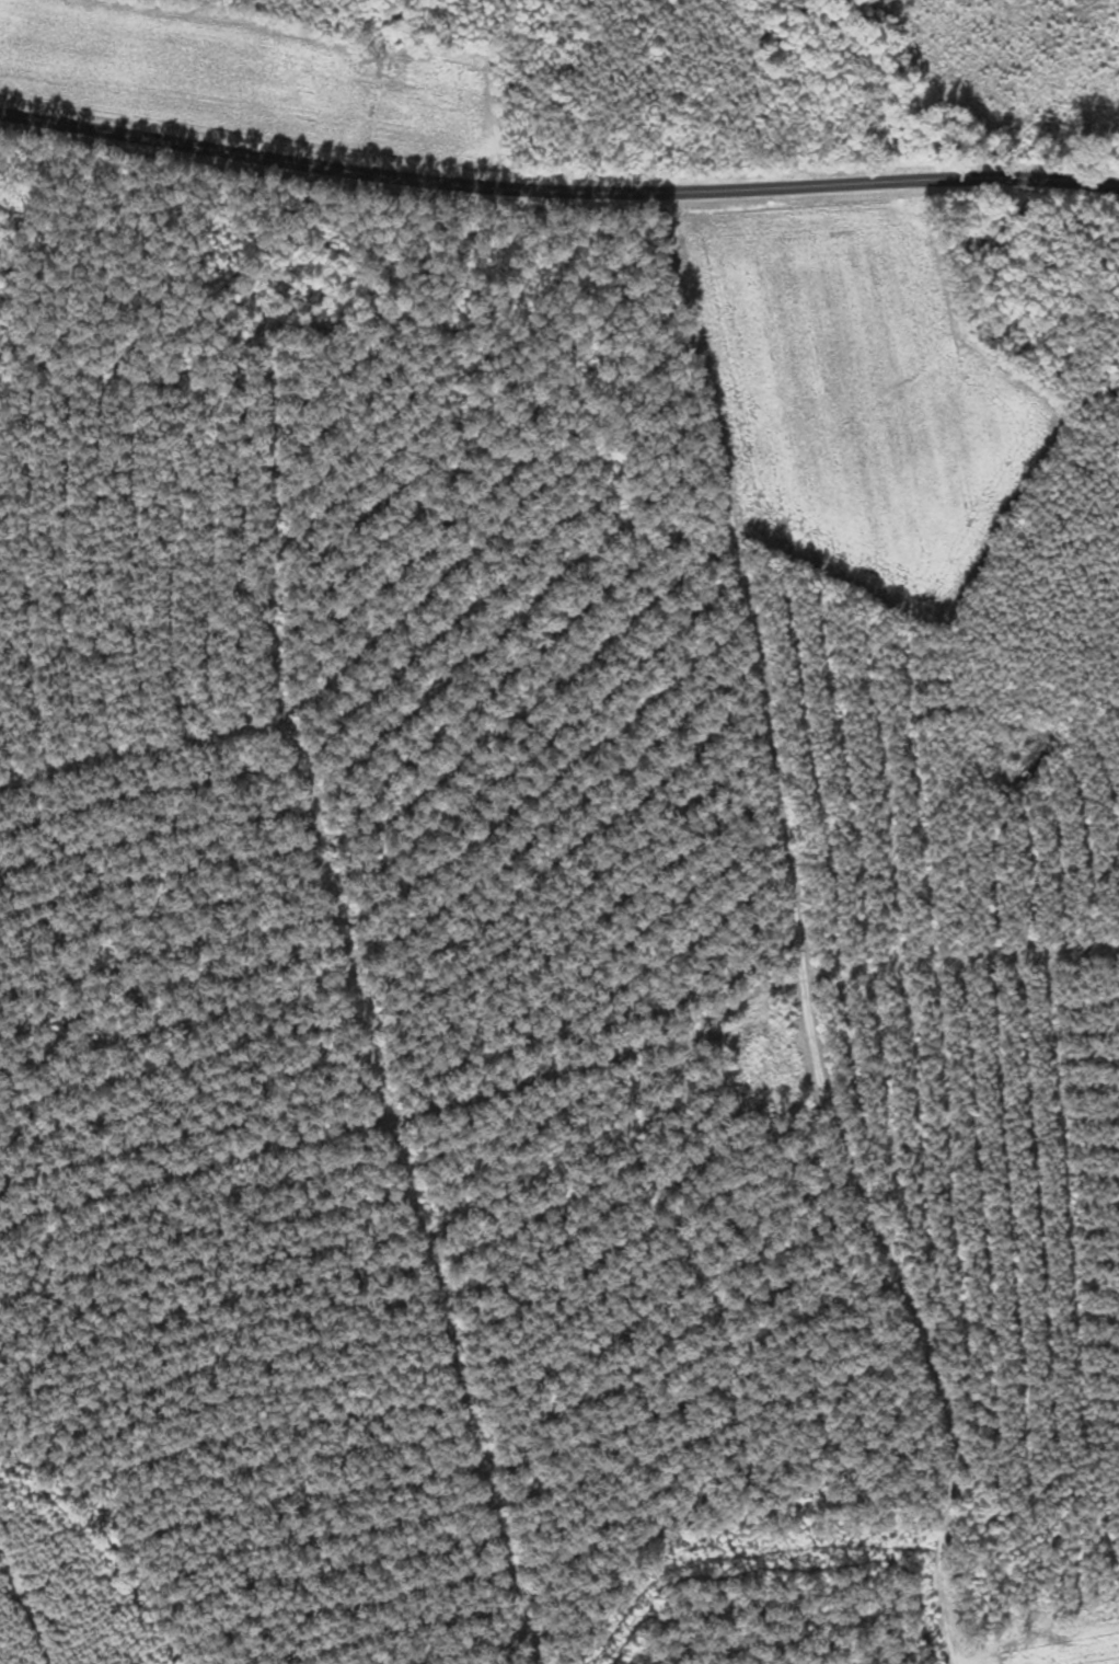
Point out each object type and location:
road: (556, 192)

